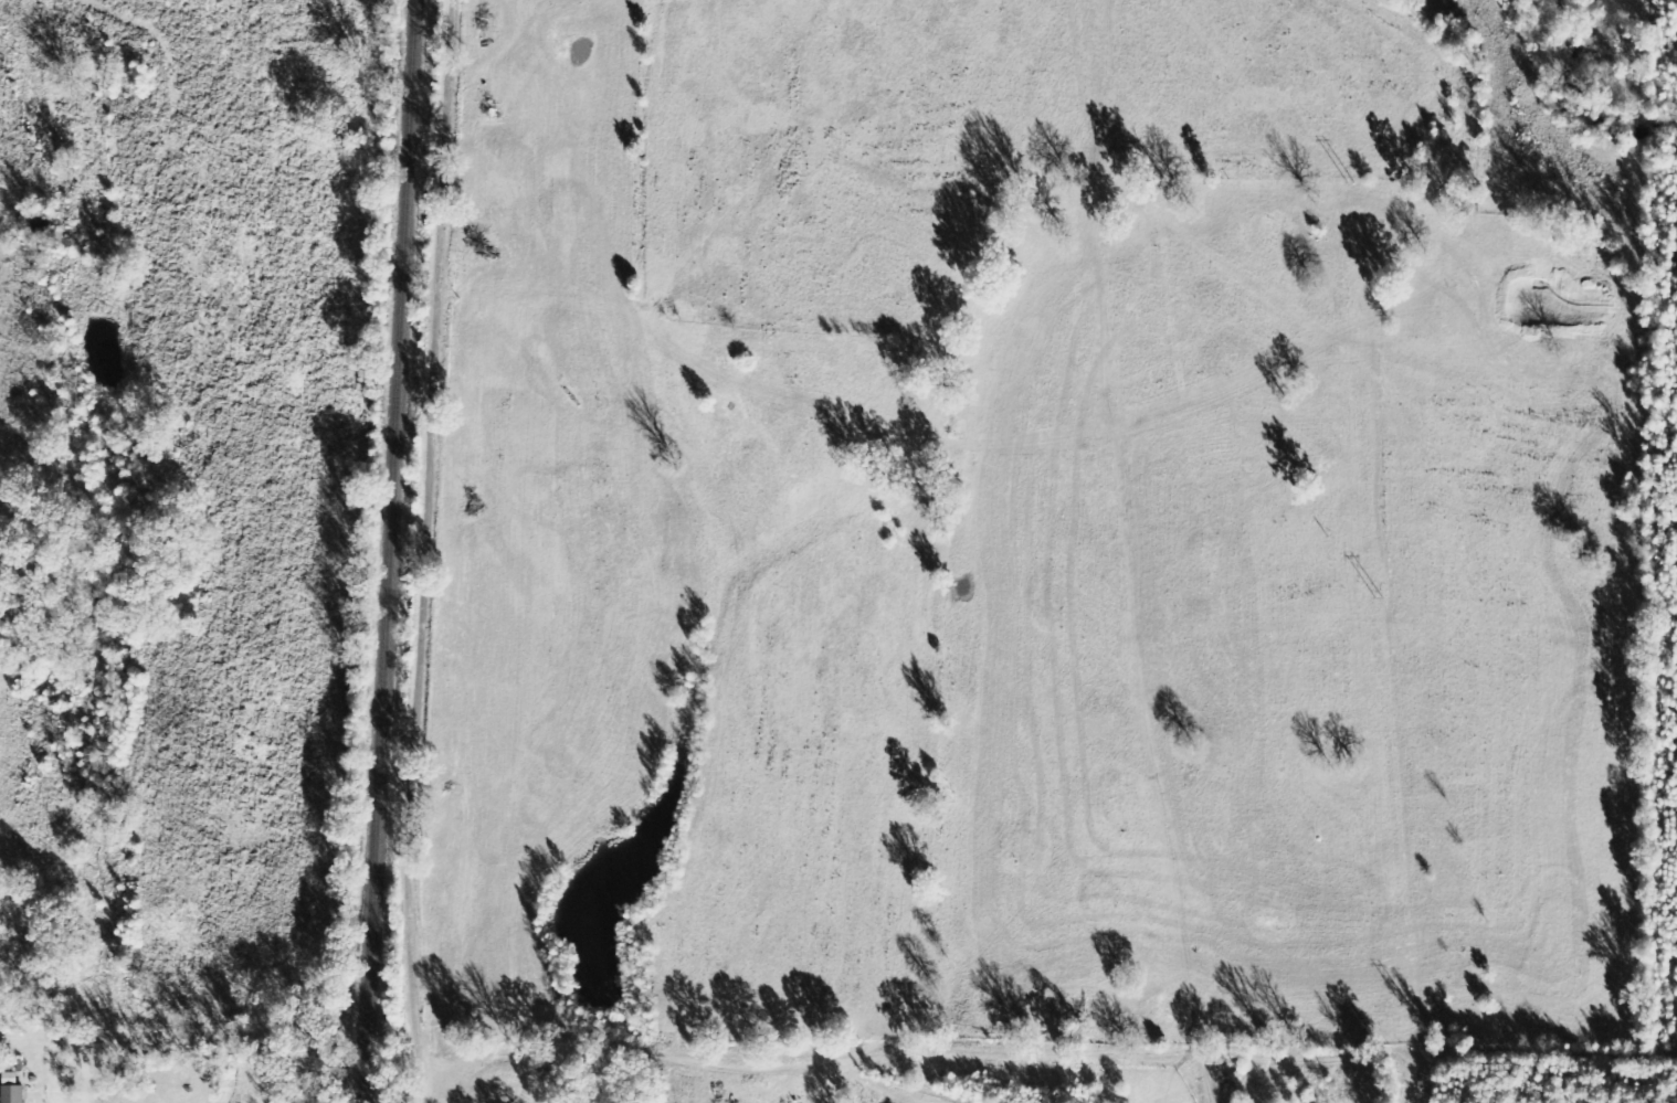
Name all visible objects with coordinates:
power tower: (1352, 185)
road: (482, 526)
railway: (397, 551)
power tower: (1379, 600)
power tower: (1405, 1007)
road: (425, 1054)
road: (500, 1077)

